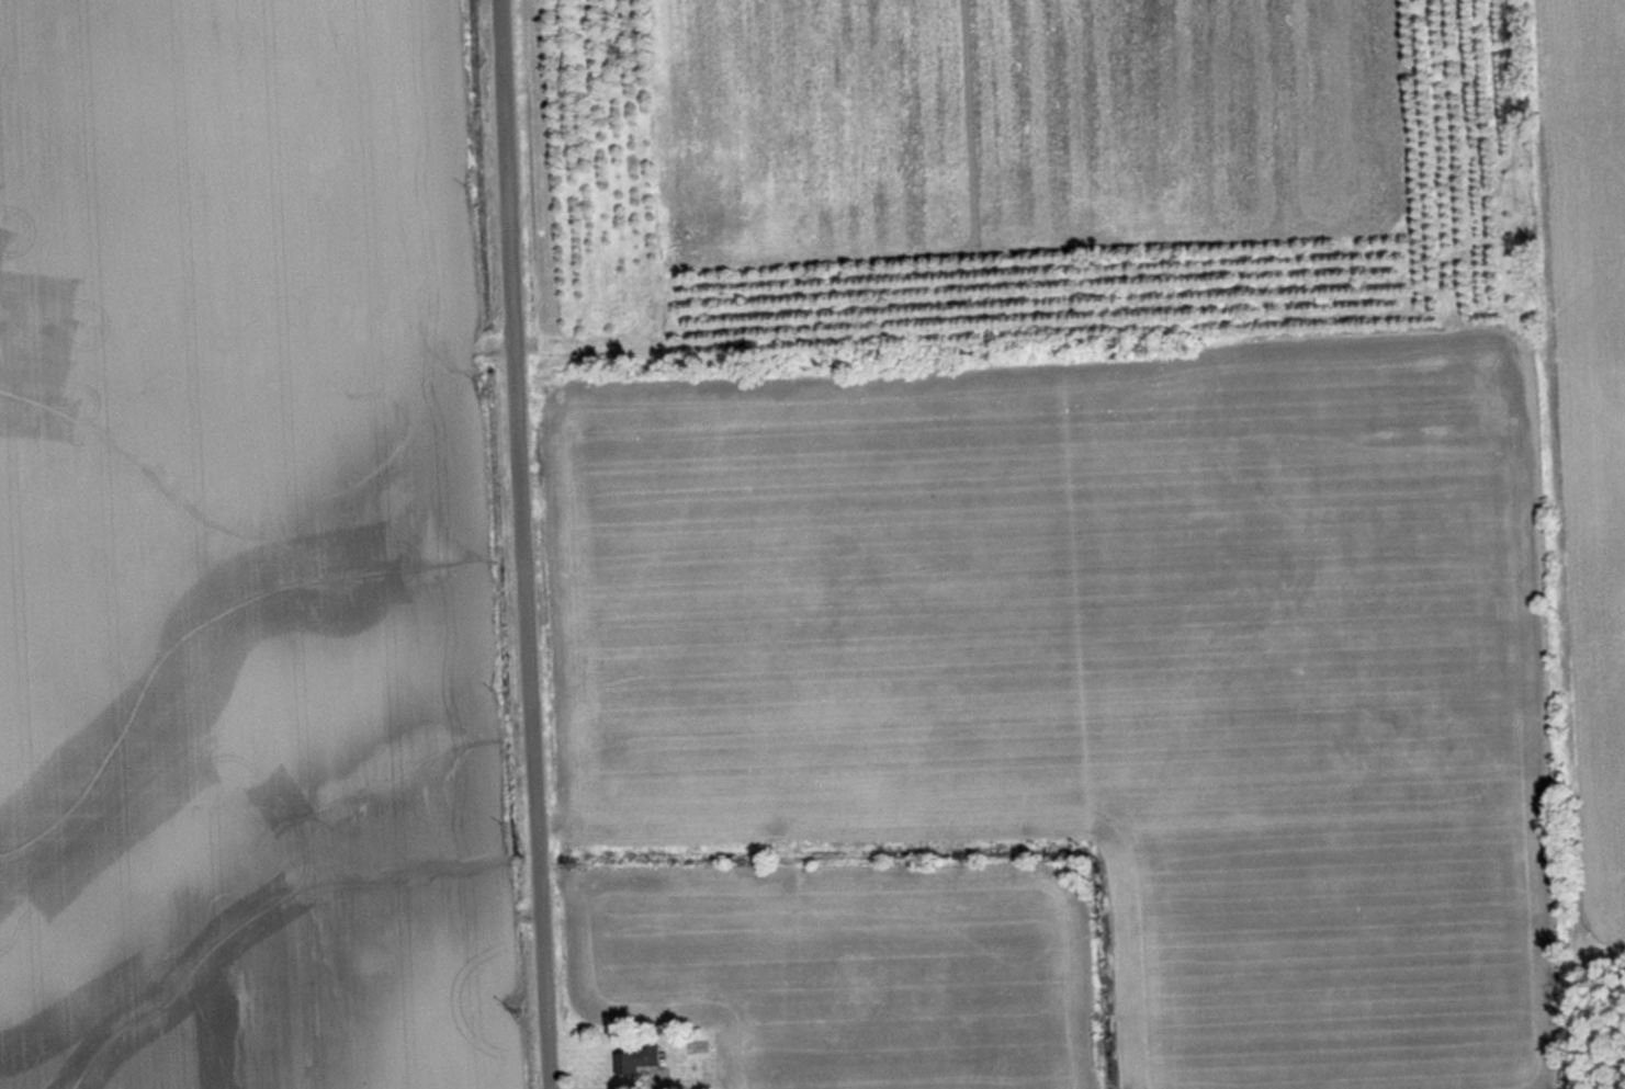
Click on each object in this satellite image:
road: (517, 544)
building: (643, 1057)

